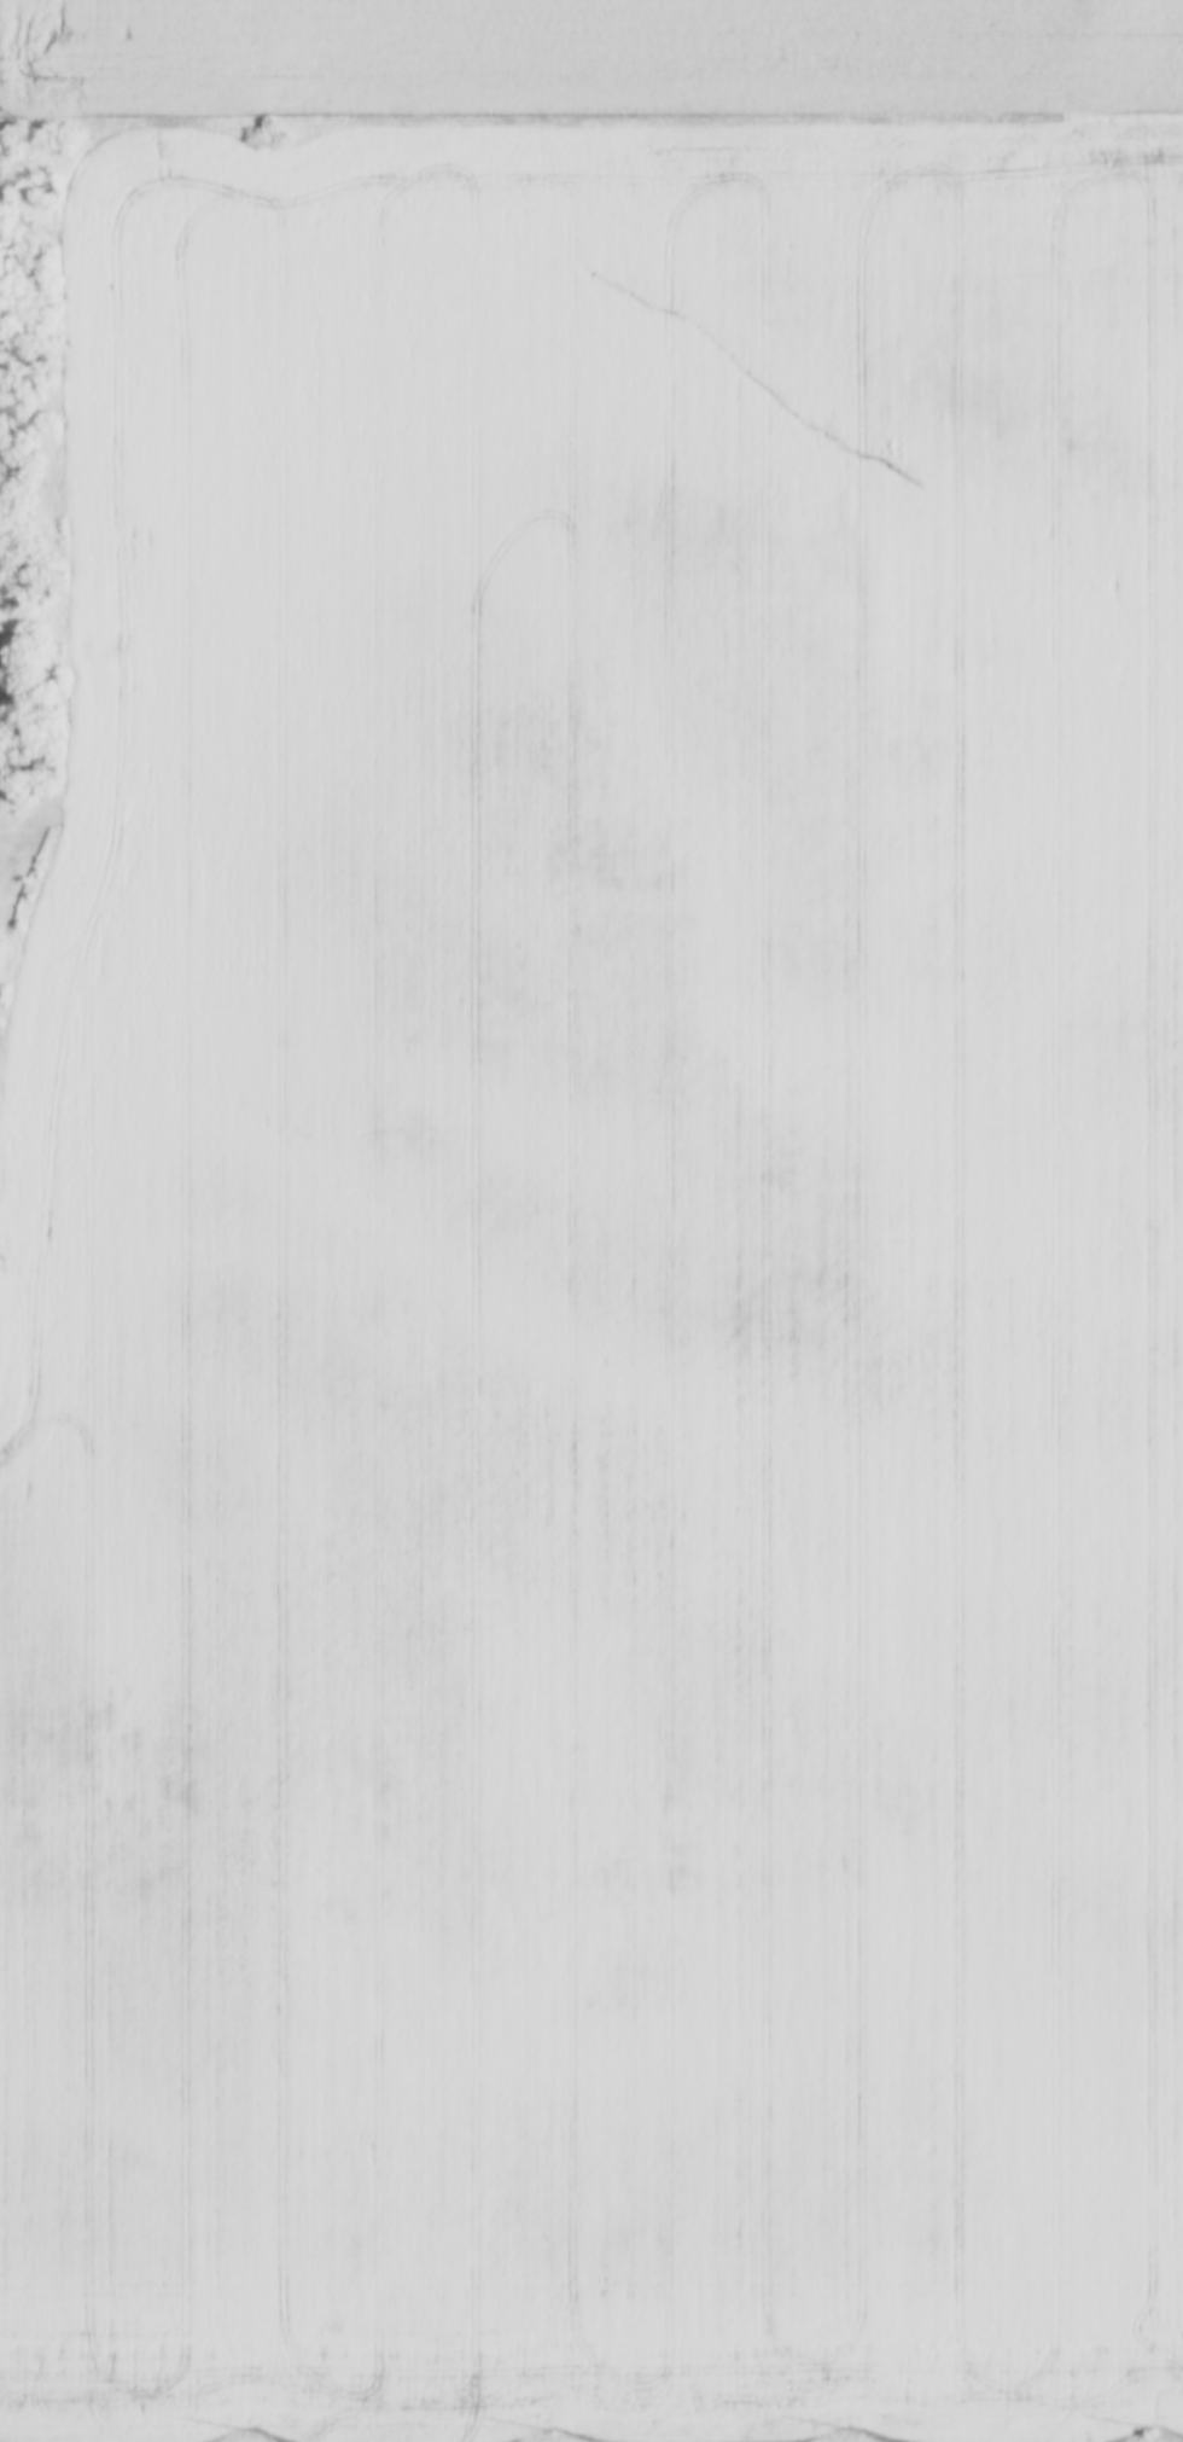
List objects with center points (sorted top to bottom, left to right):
crop: (584, 56)
road: (591, 112)
building: (47, 681)
silo: (47, 681)
building: (47, 707)
silo: (47, 707)
building: (48, 735)
silo: (48, 735)
building: (41, 761)
silo: (41, 761)
crop: (602, 1300)

